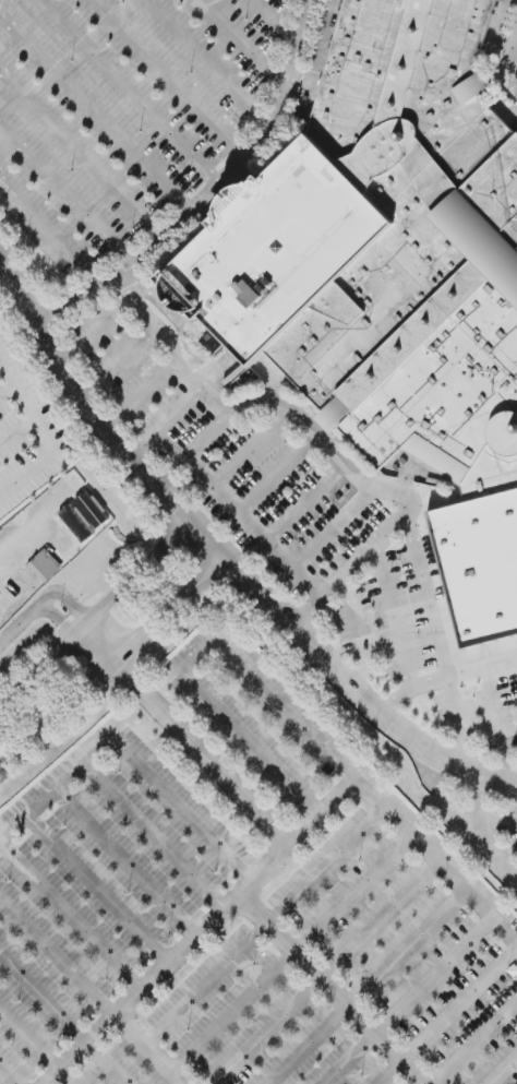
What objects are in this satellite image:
road: (3, 8)
road: (278, 21)
road: (244, 44)
road: (512, 55)
road: (298, 58)
road: (514, 59)
road: (212, 61)
road: (168, 80)
road: (129, 93)
parking lot: (120, 109)
road: (97, 112)
road: (5, 148)
road: (82, 152)
road: (68, 198)
road: (50, 229)
building: (393, 276)
road: (81, 298)
road: (99, 324)
road: (187, 346)
road: (124, 356)
road: (139, 394)
road: (166, 422)
road: (40, 430)
road: (253, 448)
road: (175, 473)
road: (280, 474)
road: (306, 500)
building: (92, 510)
parking lot: (302, 519)
road: (252, 522)
building: (77, 523)
road: (336, 527)
road: (224, 556)
building: (45, 565)
road: (333, 584)
road: (344, 588)
road: (428, 593)
road: (40, 604)
road: (394, 615)
road: (94, 618)
road: (100, 647)
road: (200, 653)
road: (116, 667)
road: (445, 678)
road: (459, 722)
road: (501, 724)
road: (204, 754)
road: (137, 764)
road: (459, 809)
road: (388, 811)
parking lot: (483, 811)
parking lot: (241, 904)
road: (72, 916)
road: (333, 988)
road: (143, 989)
road: (151, 1049)
road: (504, 1071)

